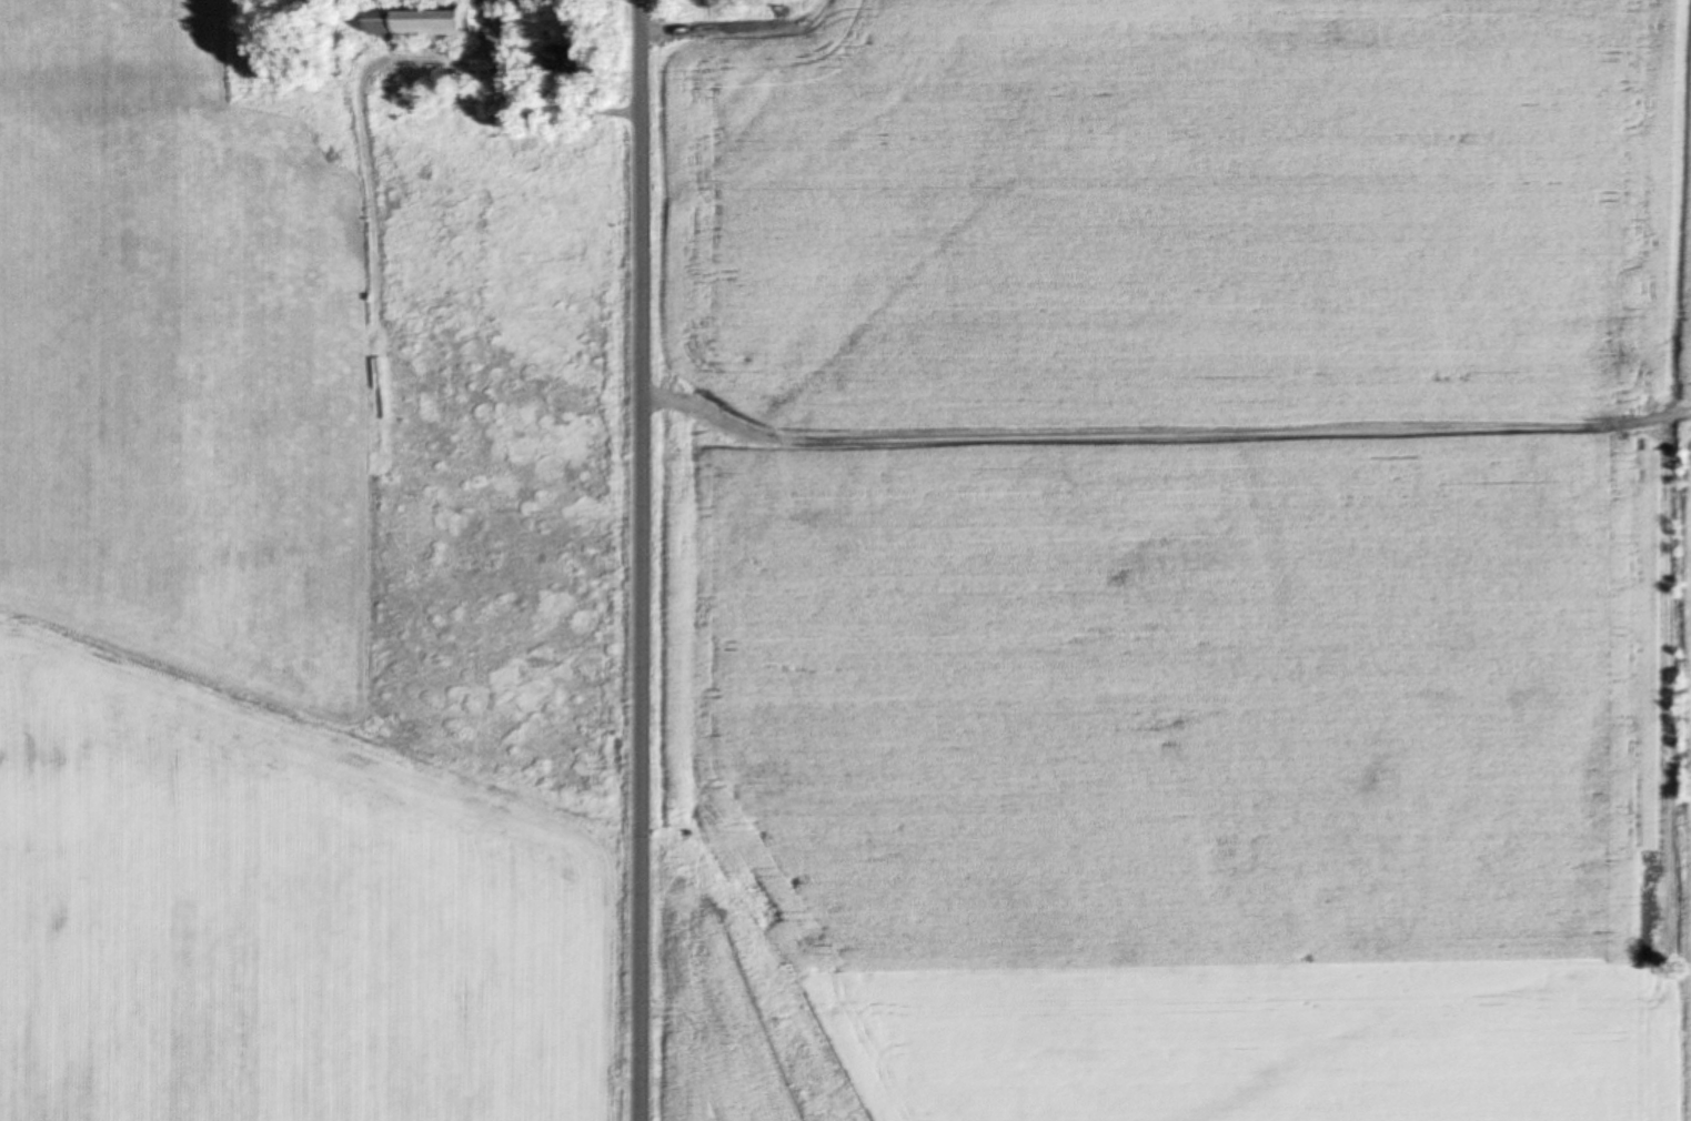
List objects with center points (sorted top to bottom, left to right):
building: (423, 18)
building: (567, 57)
road: (640, 560)

